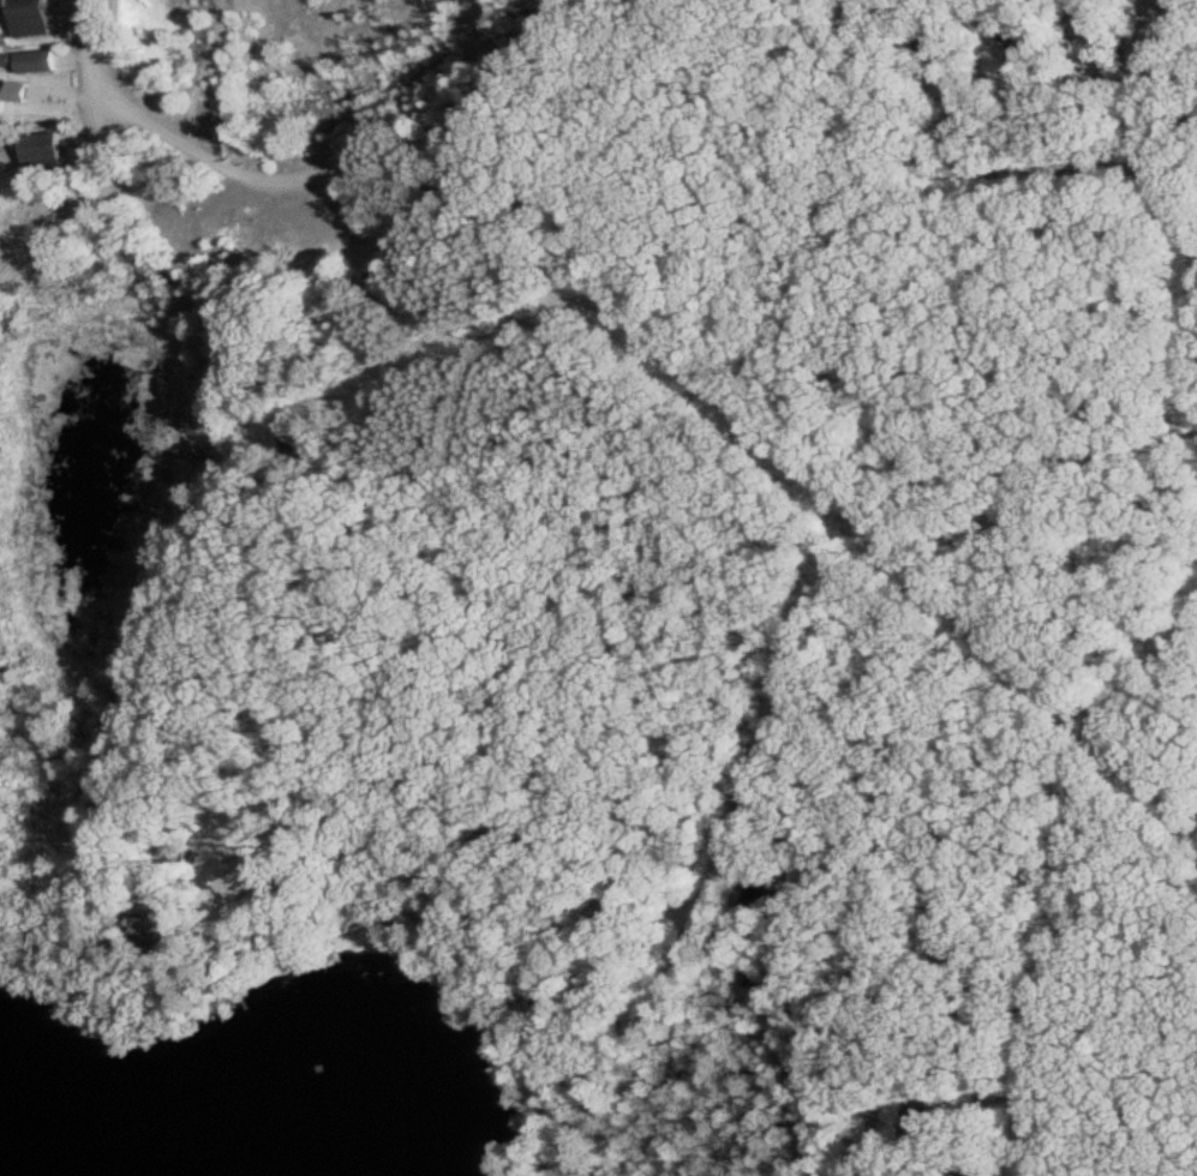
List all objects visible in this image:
building: (36, 16)
building: (44, 59)
building: (52, 145)
road: (869, 172)
road: (297, 178)
road: (100, 205)
road: (414, 545)
road: (798, 677)
road: (737, 917)
road: (990, 991)
building: (920, 1122)
building: (563, 1169)

